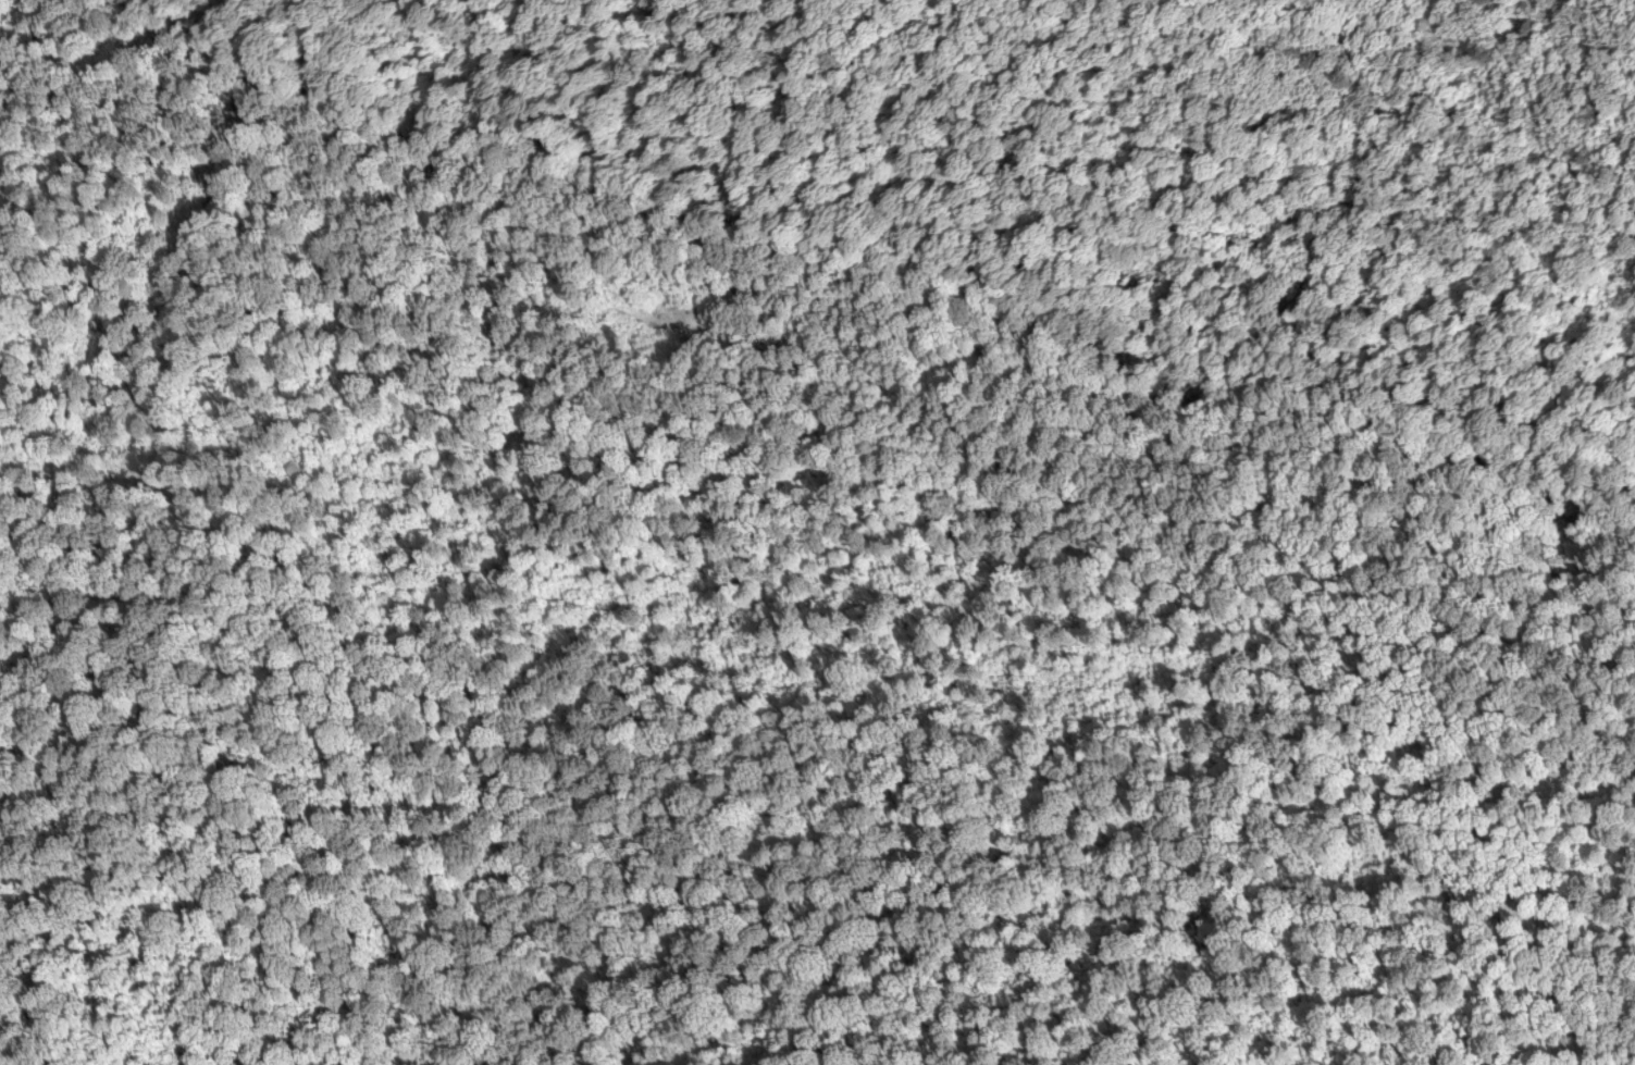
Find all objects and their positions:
road: (198, 1024)

